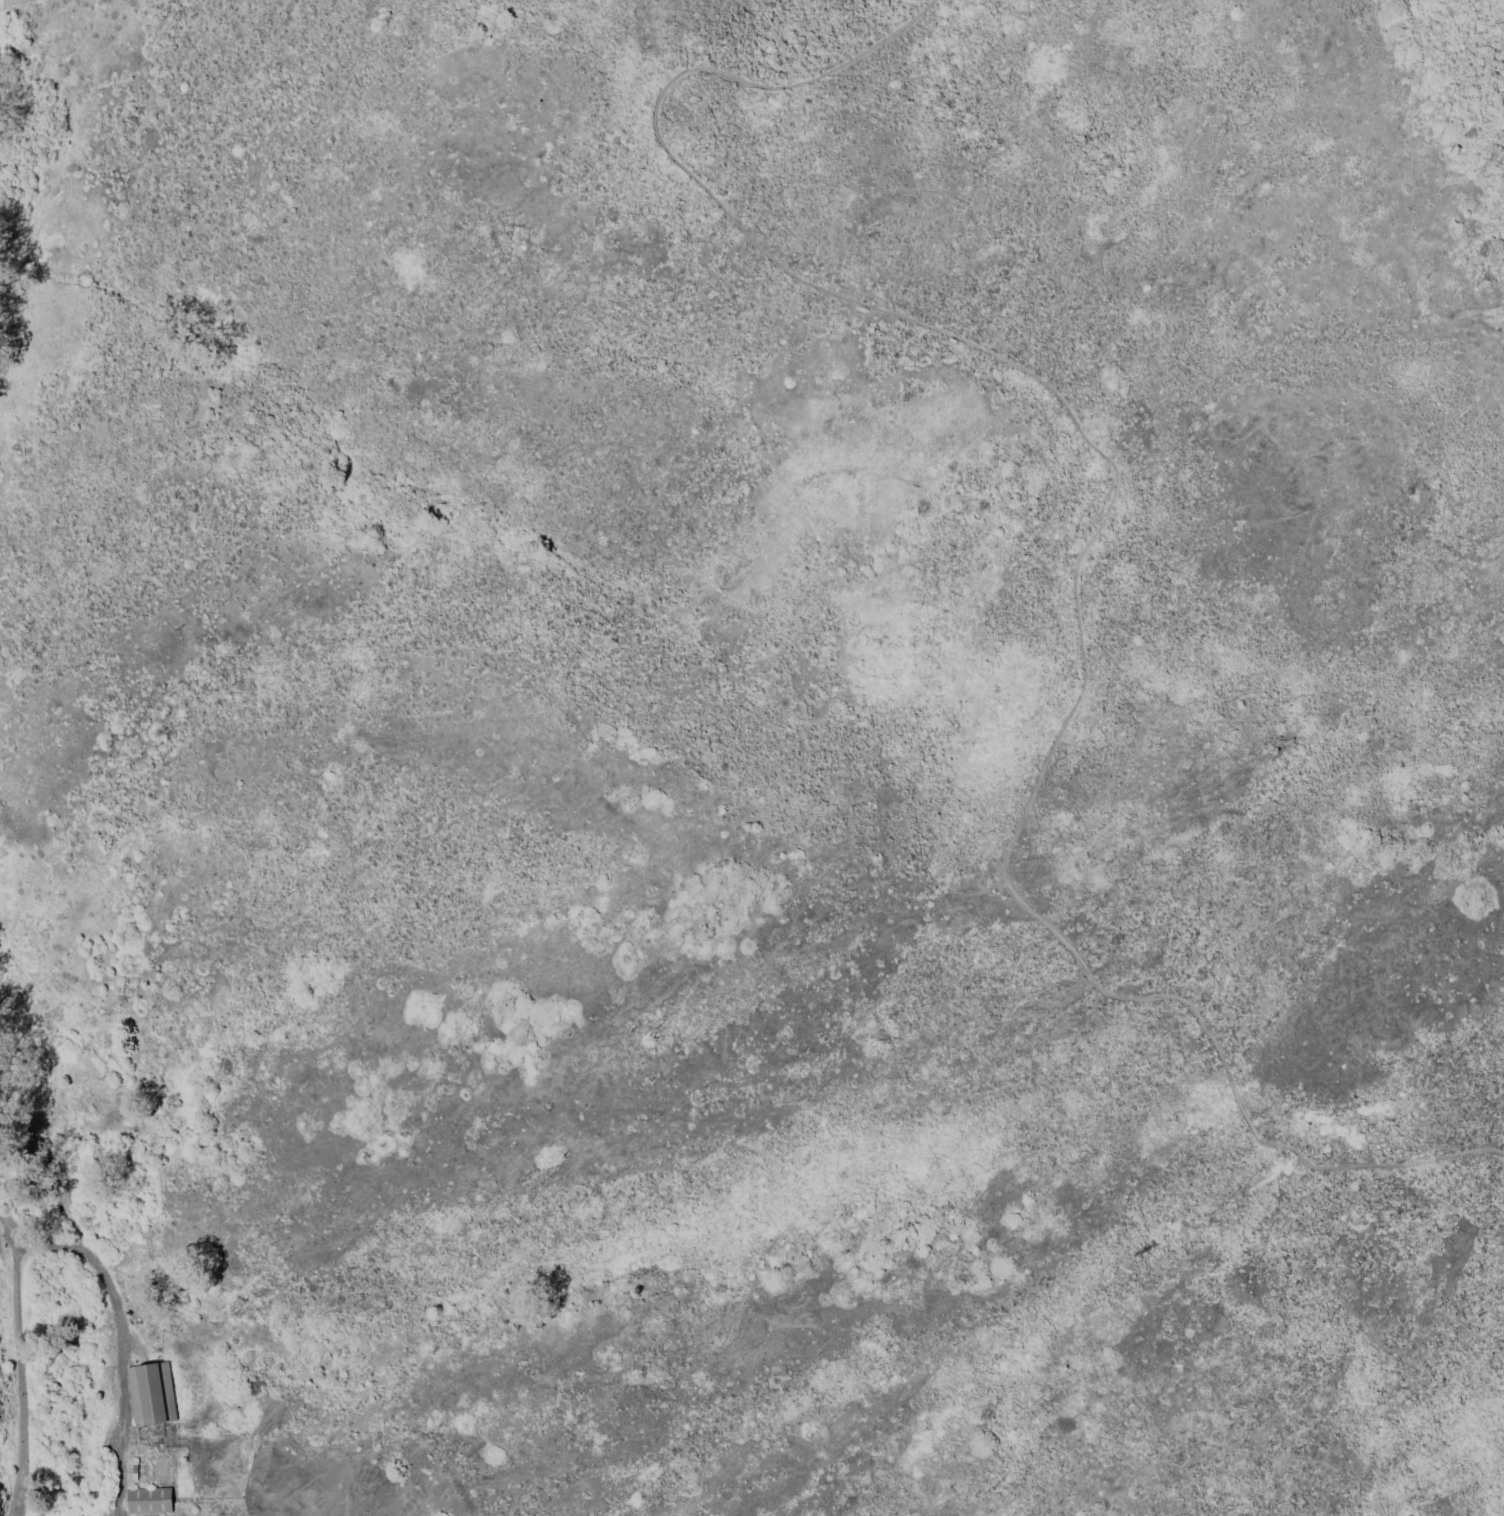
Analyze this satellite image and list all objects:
road: (1096, 536)
road: (75, 1210)
road: (9, 1225)
road: (119, 1346)
building: (250, 1358)
road: (19, 1381)
building: (152, 1396)
building: (149, 1503)

